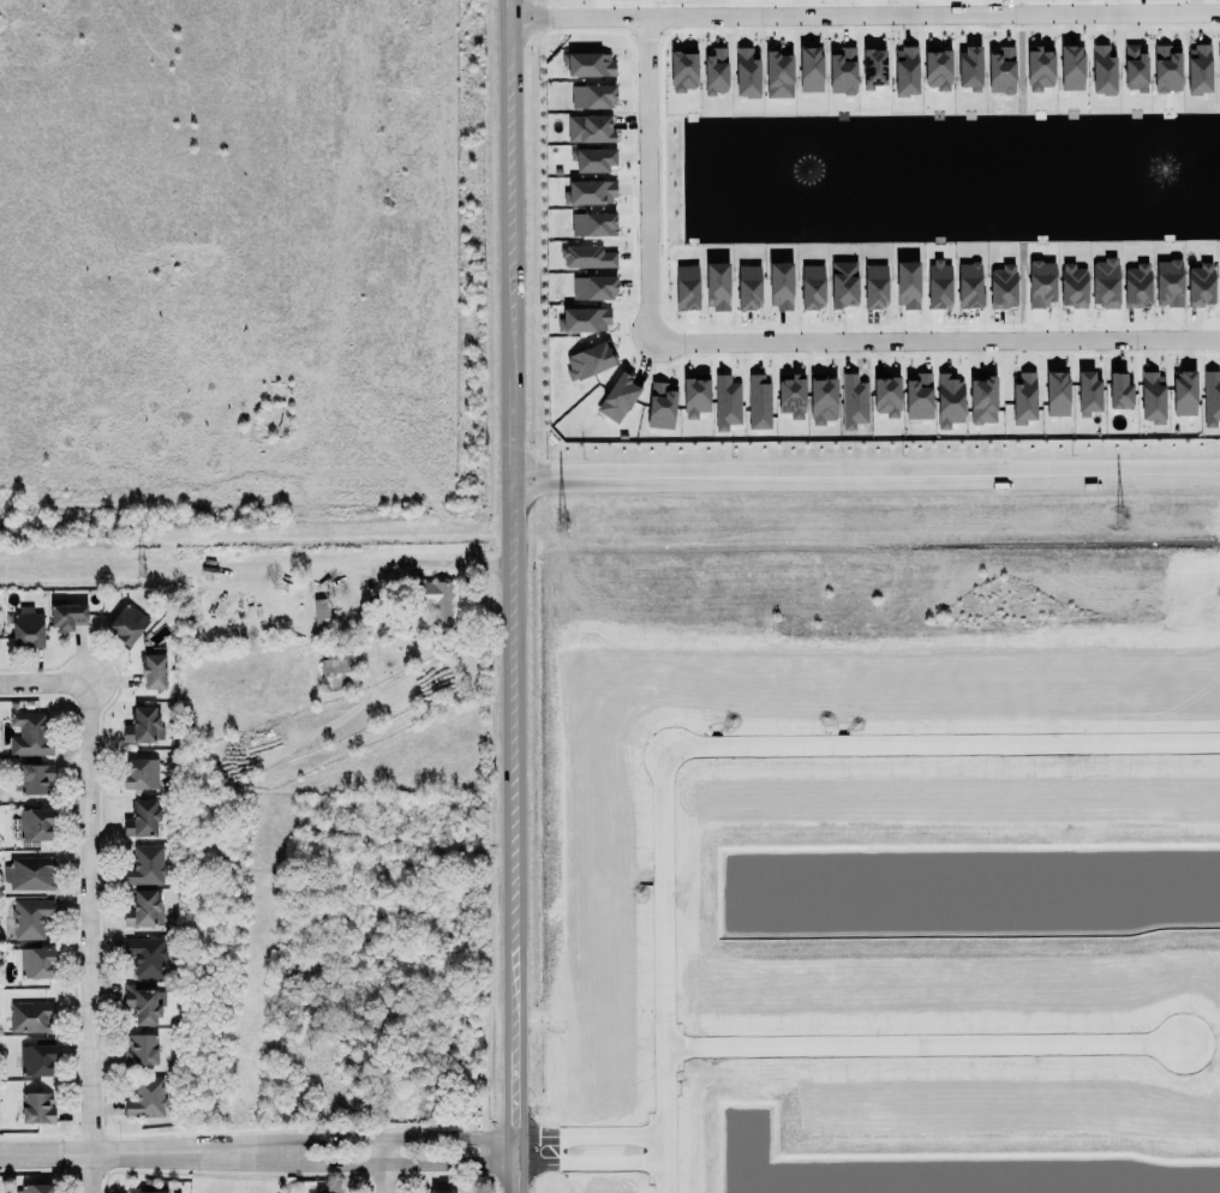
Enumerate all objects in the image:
road: (861, 13)
building: (1219, 53)
building: (873, 64)
building: (588, 65)
building: (1070, 65)
building: (938, 66)
building: (1134, 66)
building: (905, 68)
building: (969, 68)
building: (1101, 68)
building: (811, 70)
building: (1000, 70)
building: (1039, 70)
building: (1166, 70)
building: (1198, 70)
building: (683, 71)
building: (716, 71)
building: (842, 71)
building: (746, 74)
building: (779, 76)
building: (593, 97)
building: (590, 128)
building: (593, 160)
road: (647, 180)
building: (590, 193)
building: (593, 224)
building: (587, 257)
building: (1041, 283)
building: (1105, 283)
building: (1168, 283)
building: (686, 284)
building: (844, 284)
building: (908, 284)
building: (781, 286)
building: (939, 286)
building: (969, 286)
building: (1137, 286)
building: (1200, 286)
building: (717, 287)
building: (812, 287)
building: (875, 287)
building: (1003, 287)
building: (1072, 287)
building: (594, 288)
building: (748, 288)
building: (582, 317)
road: (932, 344)
building: (588, 359)
building: (1055, 390)
building: (1088, 391)
building: (1119, 392)
building: (1184, 392)
building: (886, 395)
building: (791, 396)
building: (1150, 396)
building: (695, 397)
building: (919, 397)
building: (618, 398)
building: (823, 398)
building: (1023, 398)
building: (725, 400)
building: (983, 400)
building: (949, 401)
building: (759, 402)
building: (854, 402)
building: (660, 407)
road: (863, 468)
power tower: (1119, 517)
power tower: (562, 523)
power tower: (140, 570)
road: (509, 595)
building: (432, 601)
building: (321, 606)
building: (65, 616)
building: (125, 623)
building: (25, 629)
building: (339, 660)
building: (150, 670)
building: (11, 705)
building: (143, 726)
building: (29, 733)
road: (720, 741)
building: (138, 773)
building: (34, 779)
building: (142, 820)
building: (32, 823)
building: (143, 865)
building: (28, 873)
road: (90, 892)
building: (144, 910)
building: (30, 918)
building: (146, 957)
building: (34, 963)
building: (139, 1003)
building: (31, 1018)
road: (917, 1041)
building: (140, 1048)
building: (34, 1059)
building: (146, 1098)
building: (34, 1107)
road: (585, 1135)
road: (391, 1138)
road: (138, 1152)
road: (585, 1161)
road: (393, 1163)
road: (385, 1165)
building: (35, 1189)
building: (132, 1189)
building: (442, 1191)

